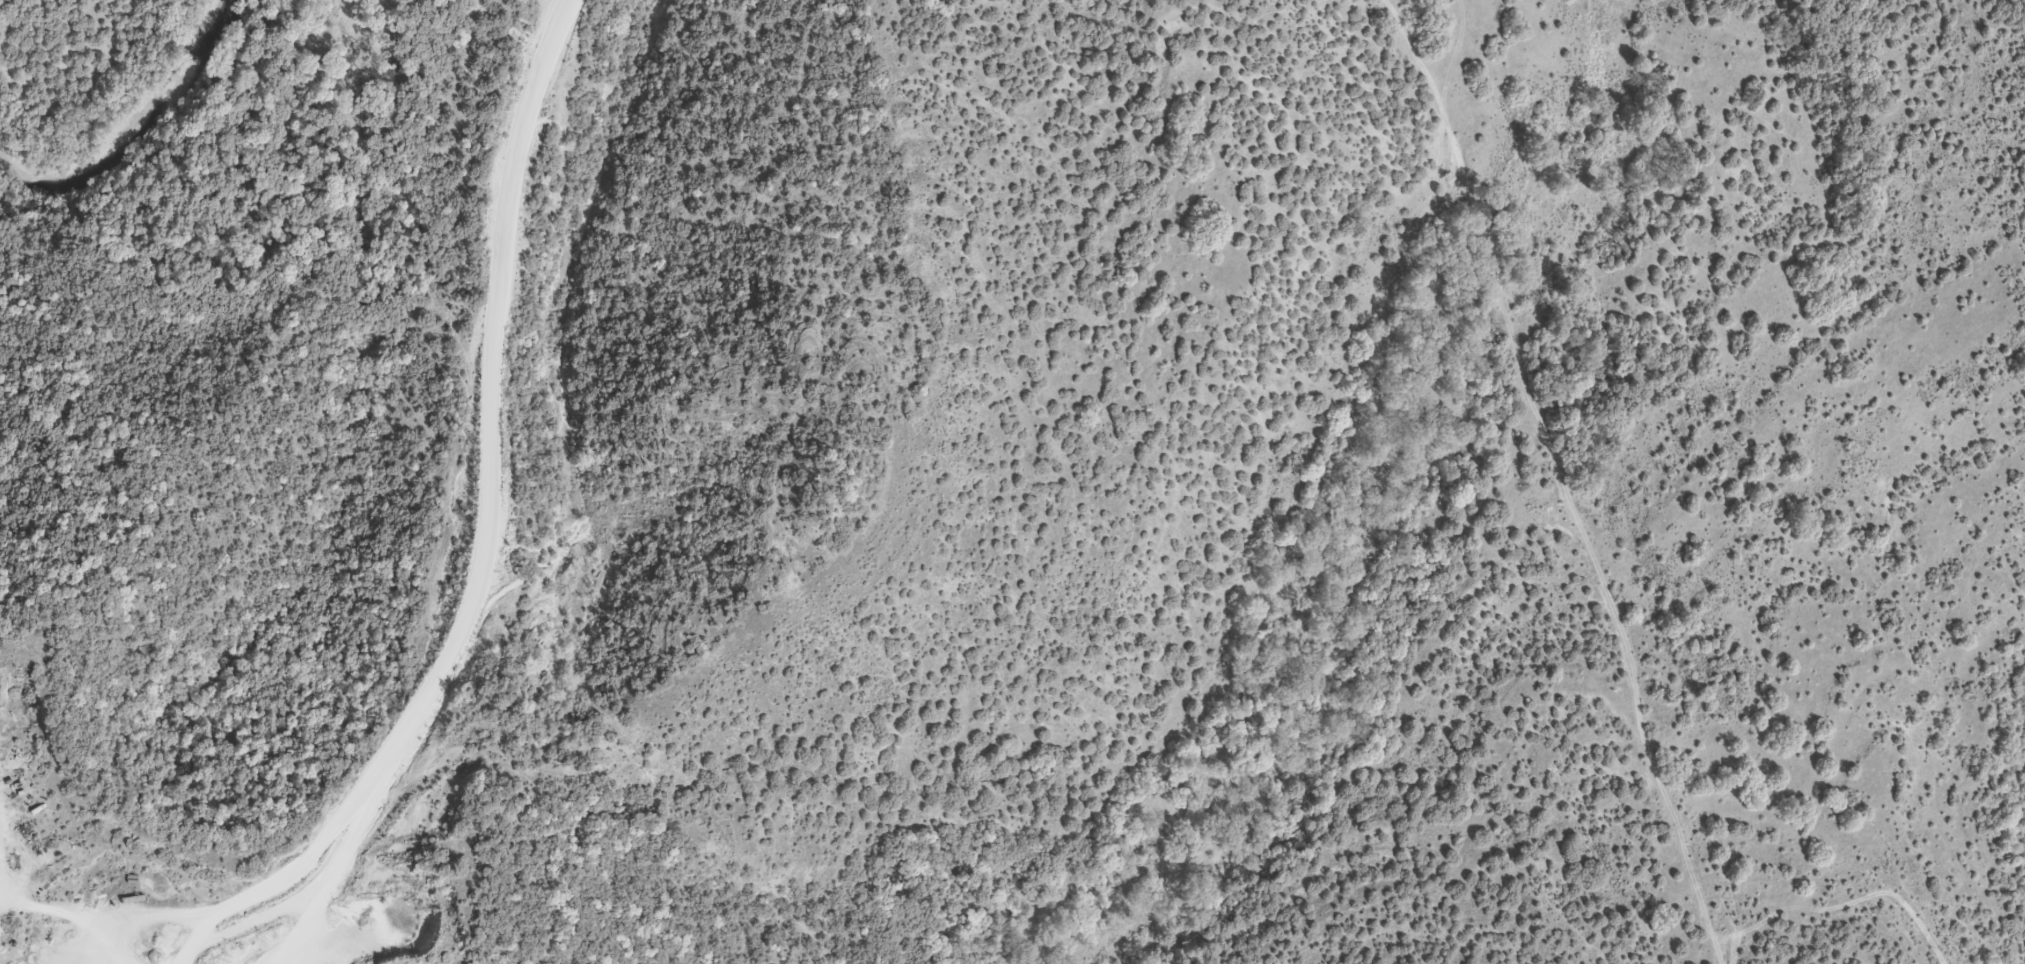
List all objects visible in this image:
road: (492, 408)
road: (1563, 477)
road: (339, 816)
quarry: (187, 869)

